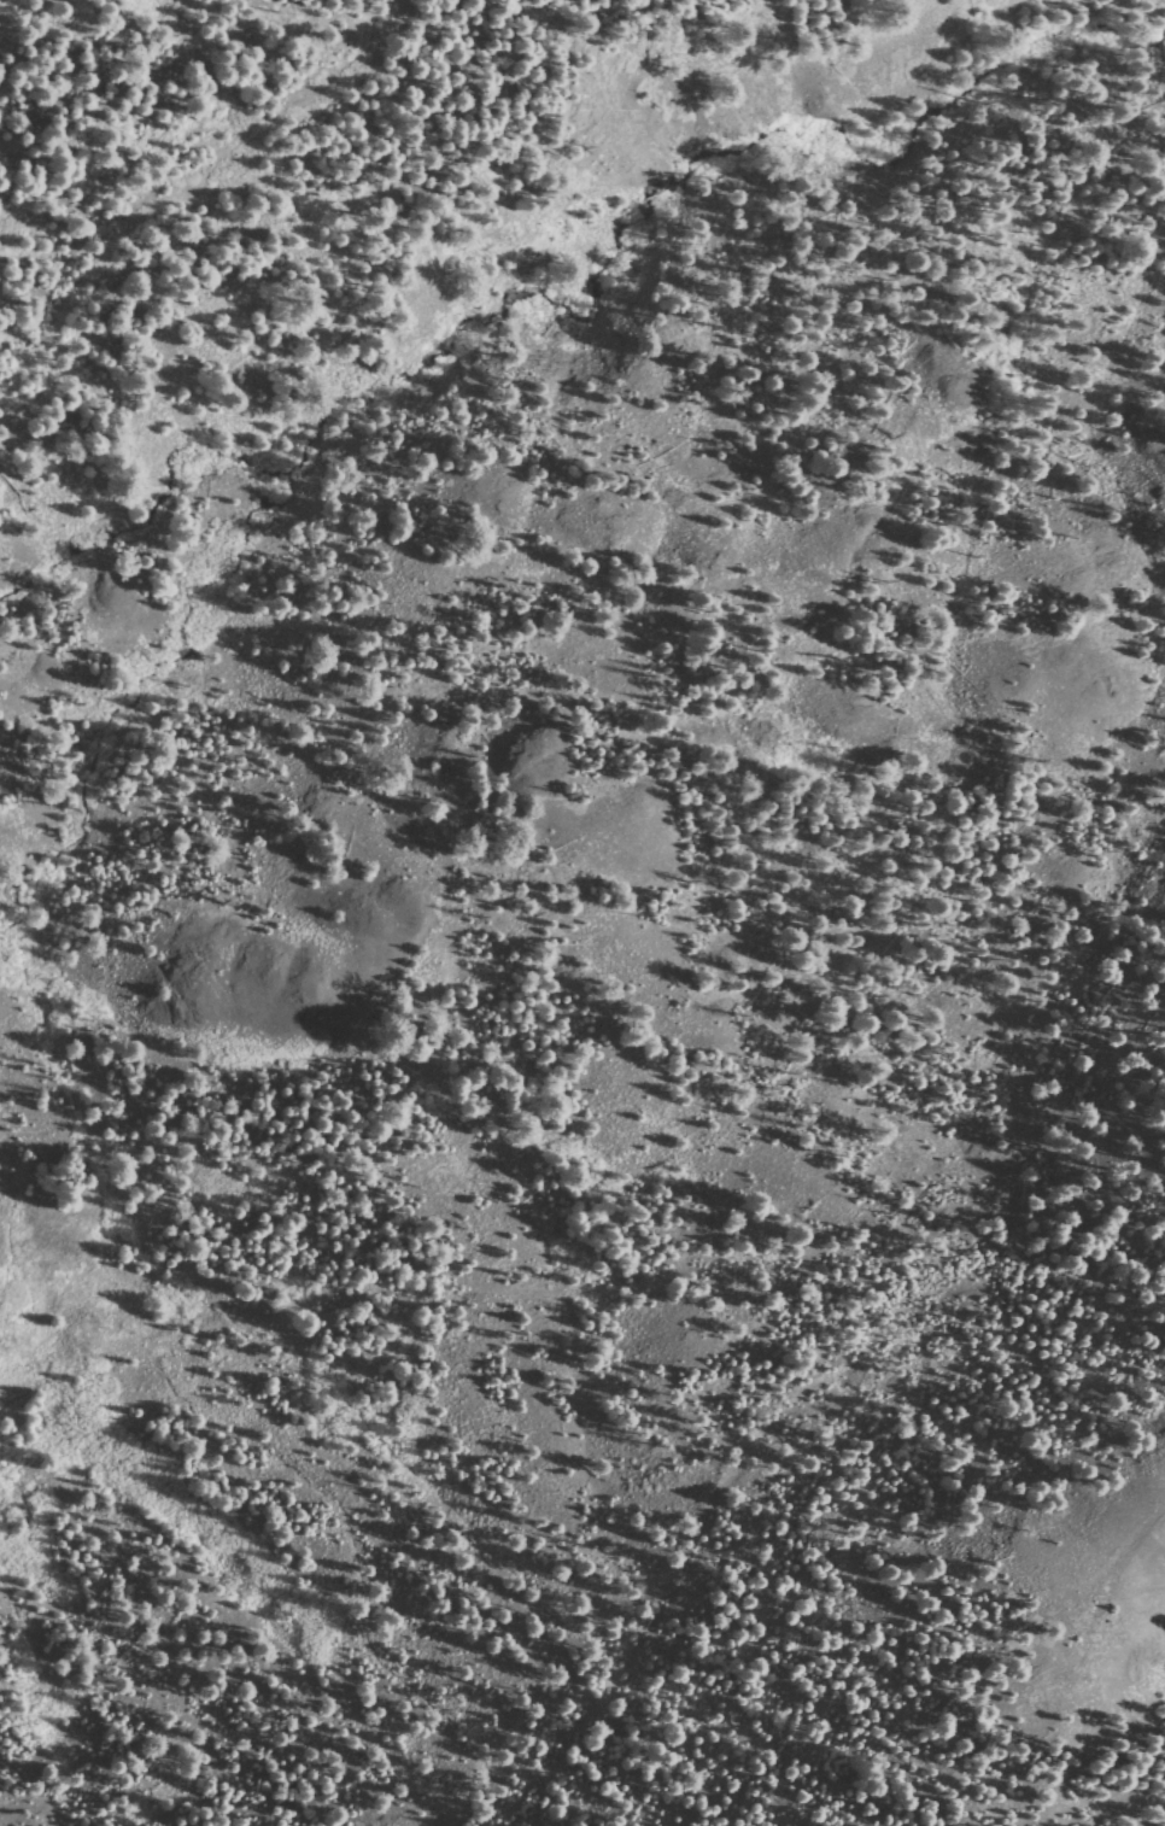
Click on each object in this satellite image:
road: (168, 174)

